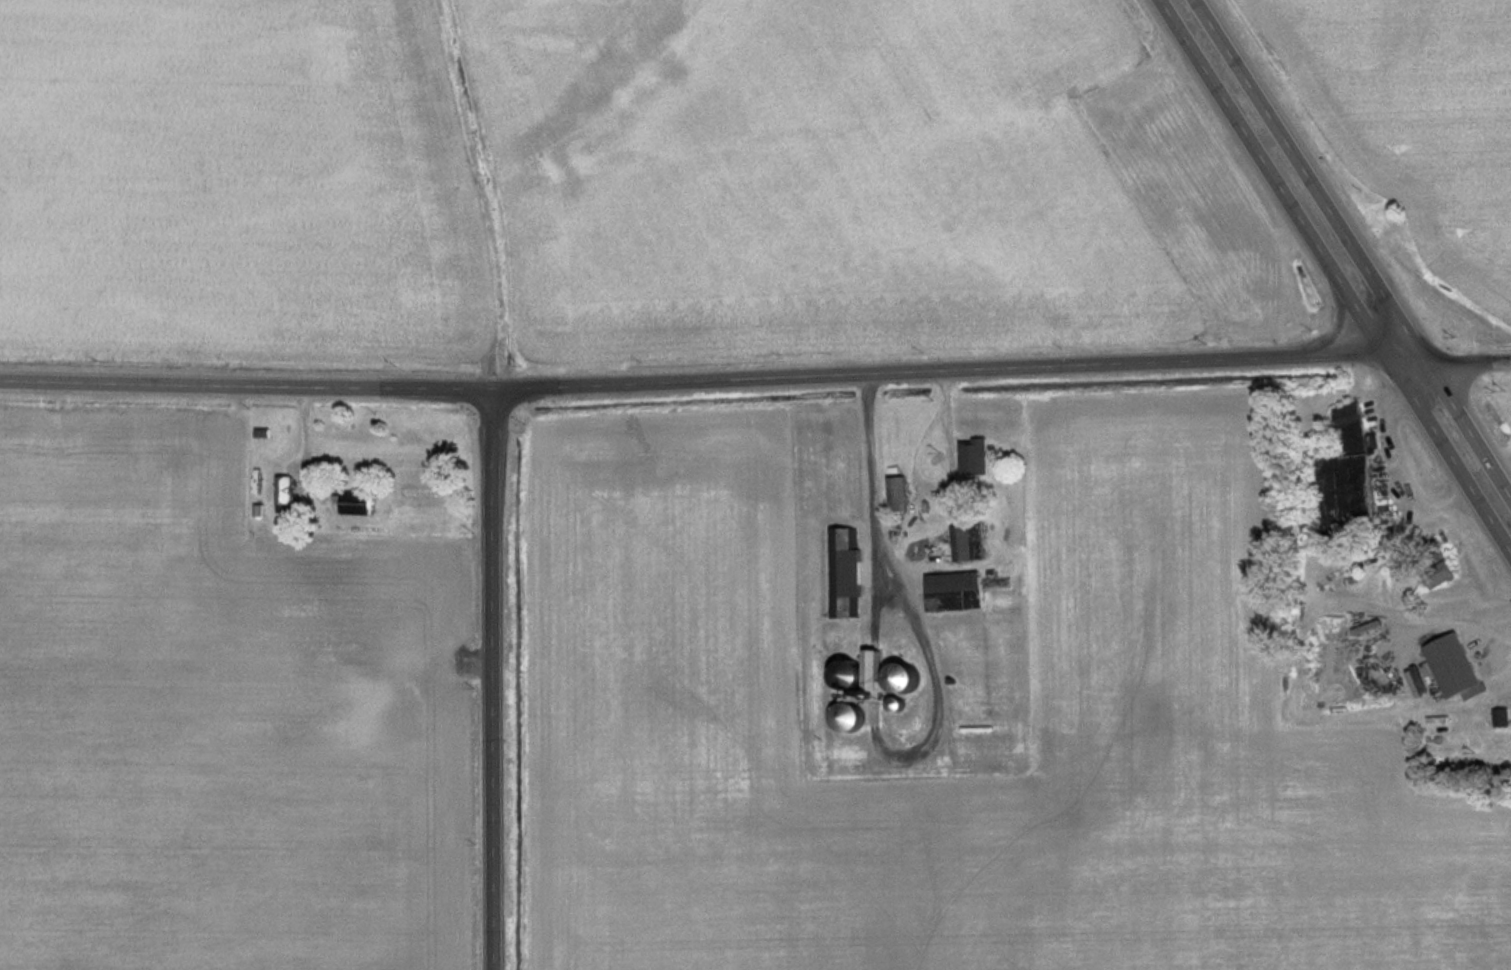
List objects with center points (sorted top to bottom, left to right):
road: (1357, 243)
road: (1337, 274)
road: (1470, 356)
road: (716, 373)
road: (303, 439)
building: (966, 460)
road: (871, 474)
building: (1345, 475)
building: (283, 488)
building: (896, 493)
building: (355, 502)
building: (966, 541)
building: (844, 572)
building: (1441, 574)
building: (953, 591)
building: (1454, 667)
building: (850, 674)
building: (902, 676)
road: (495, 677)
building: (849, 716)
building: (1500, 718)

